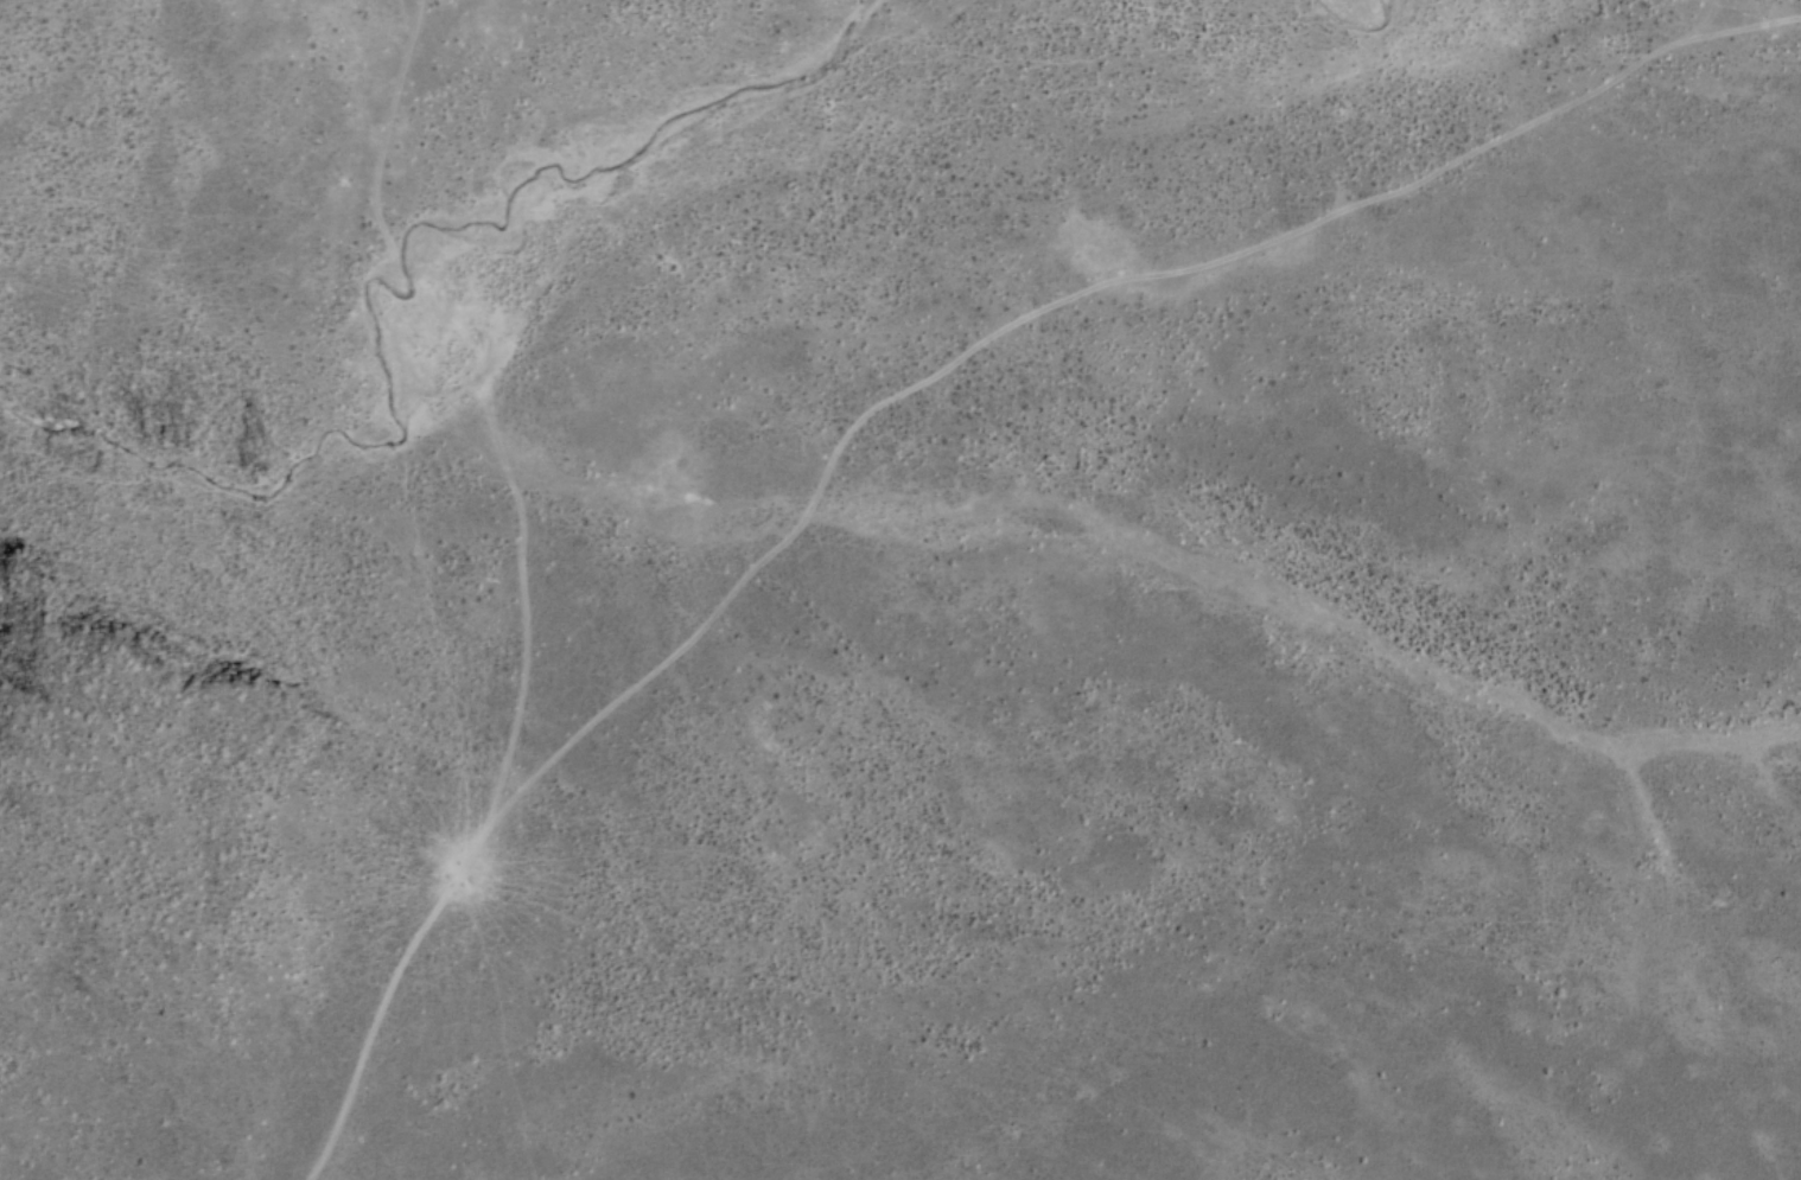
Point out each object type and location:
road: (885, 383)

